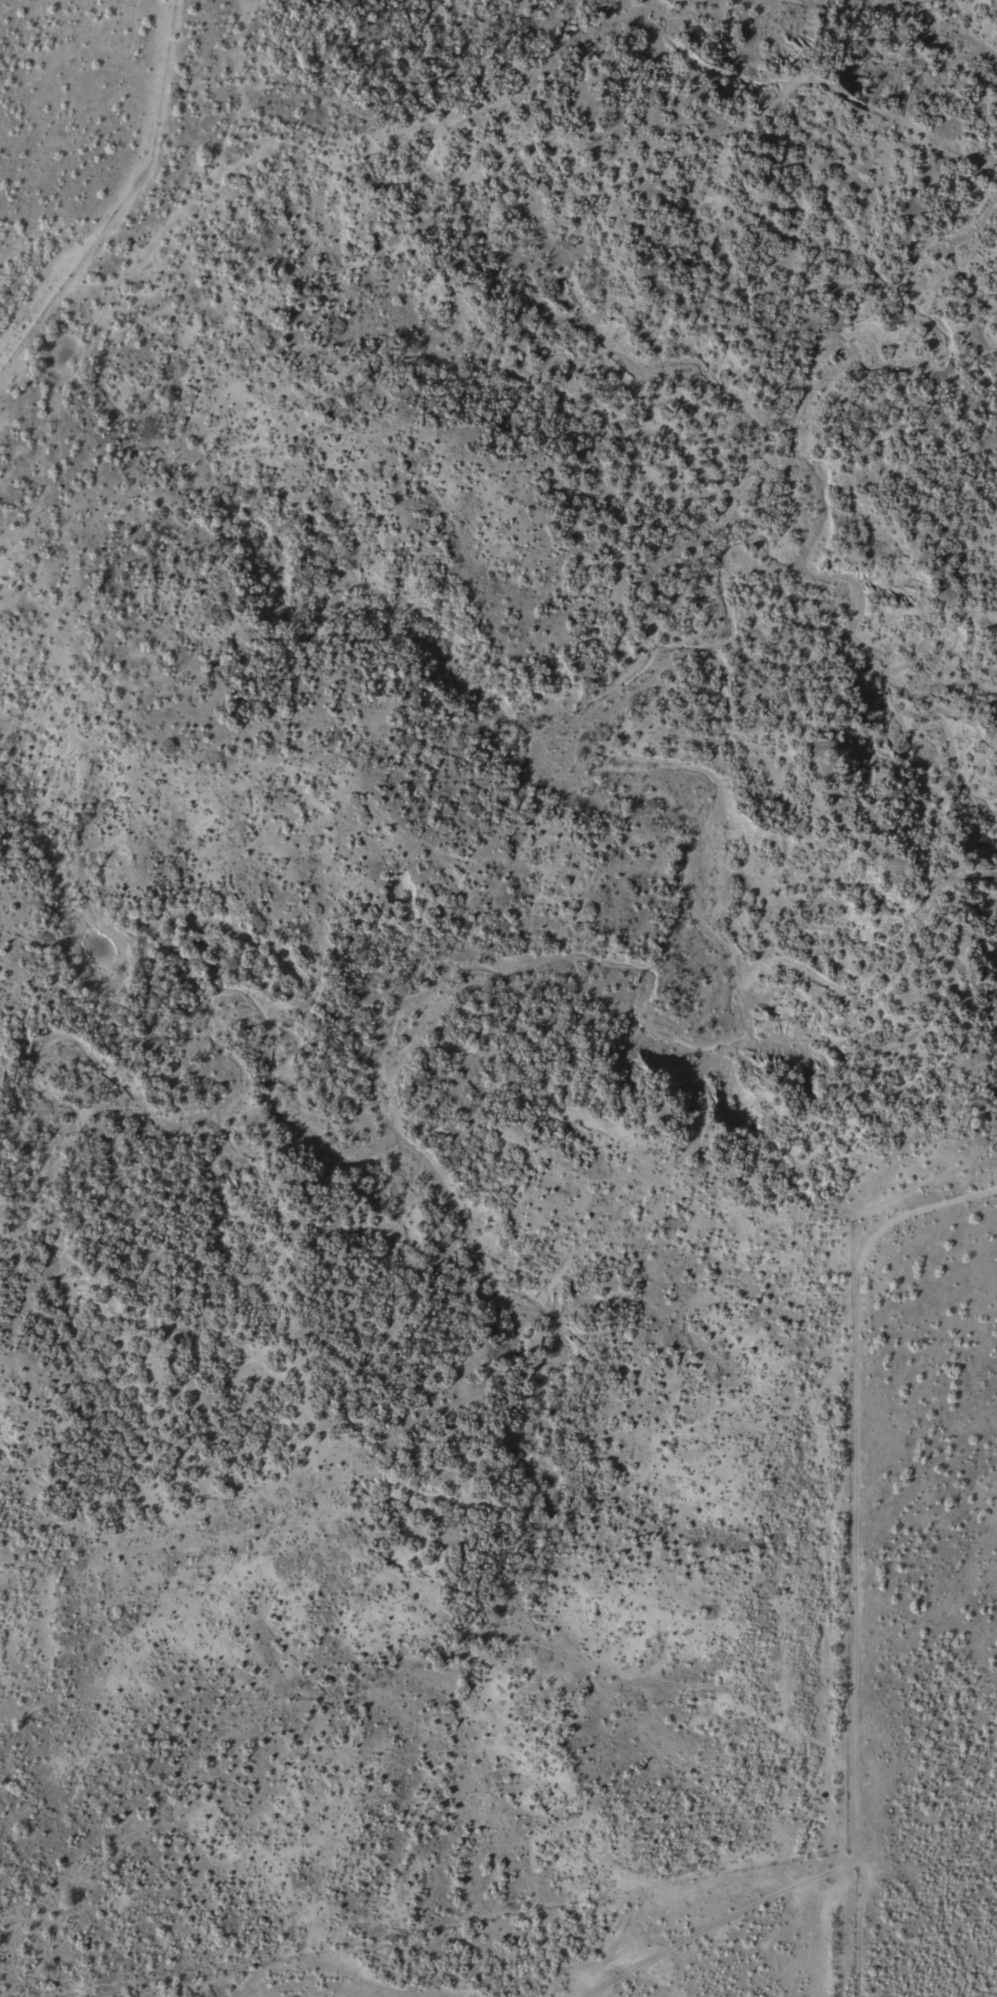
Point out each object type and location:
road: (528, 1507)

